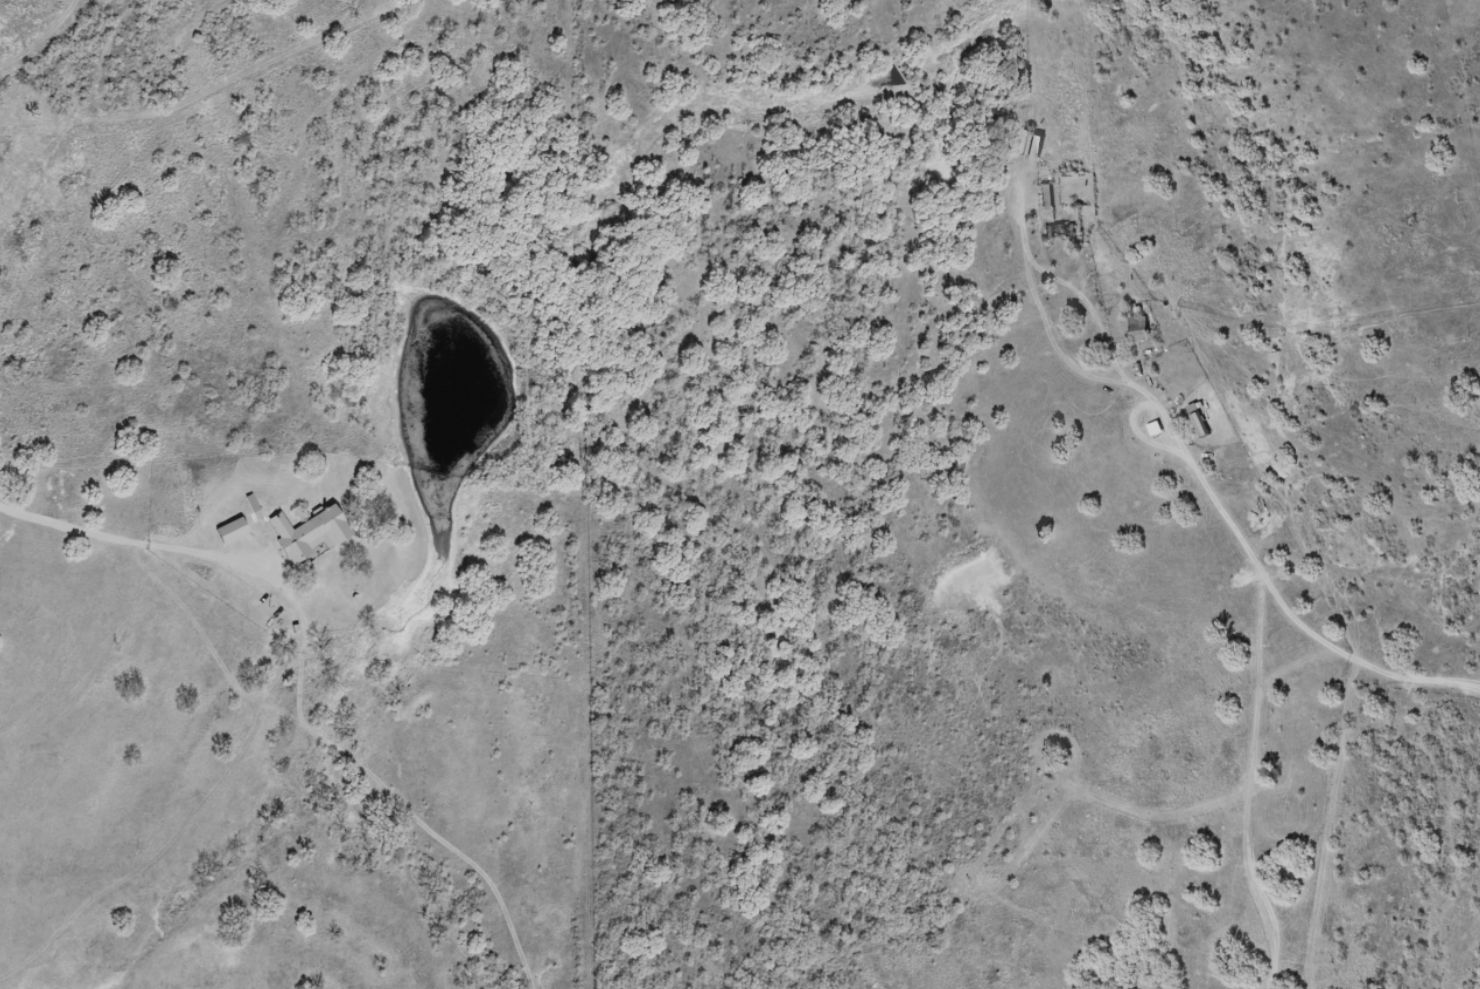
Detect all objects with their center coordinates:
building: (1045, 197)
building: (1054, 233)
building: (1138, 328)
building: (1197, 421)
building: (228, 532)
building: (306, 534)
road: (1243, 634)
road: (282, 706)

